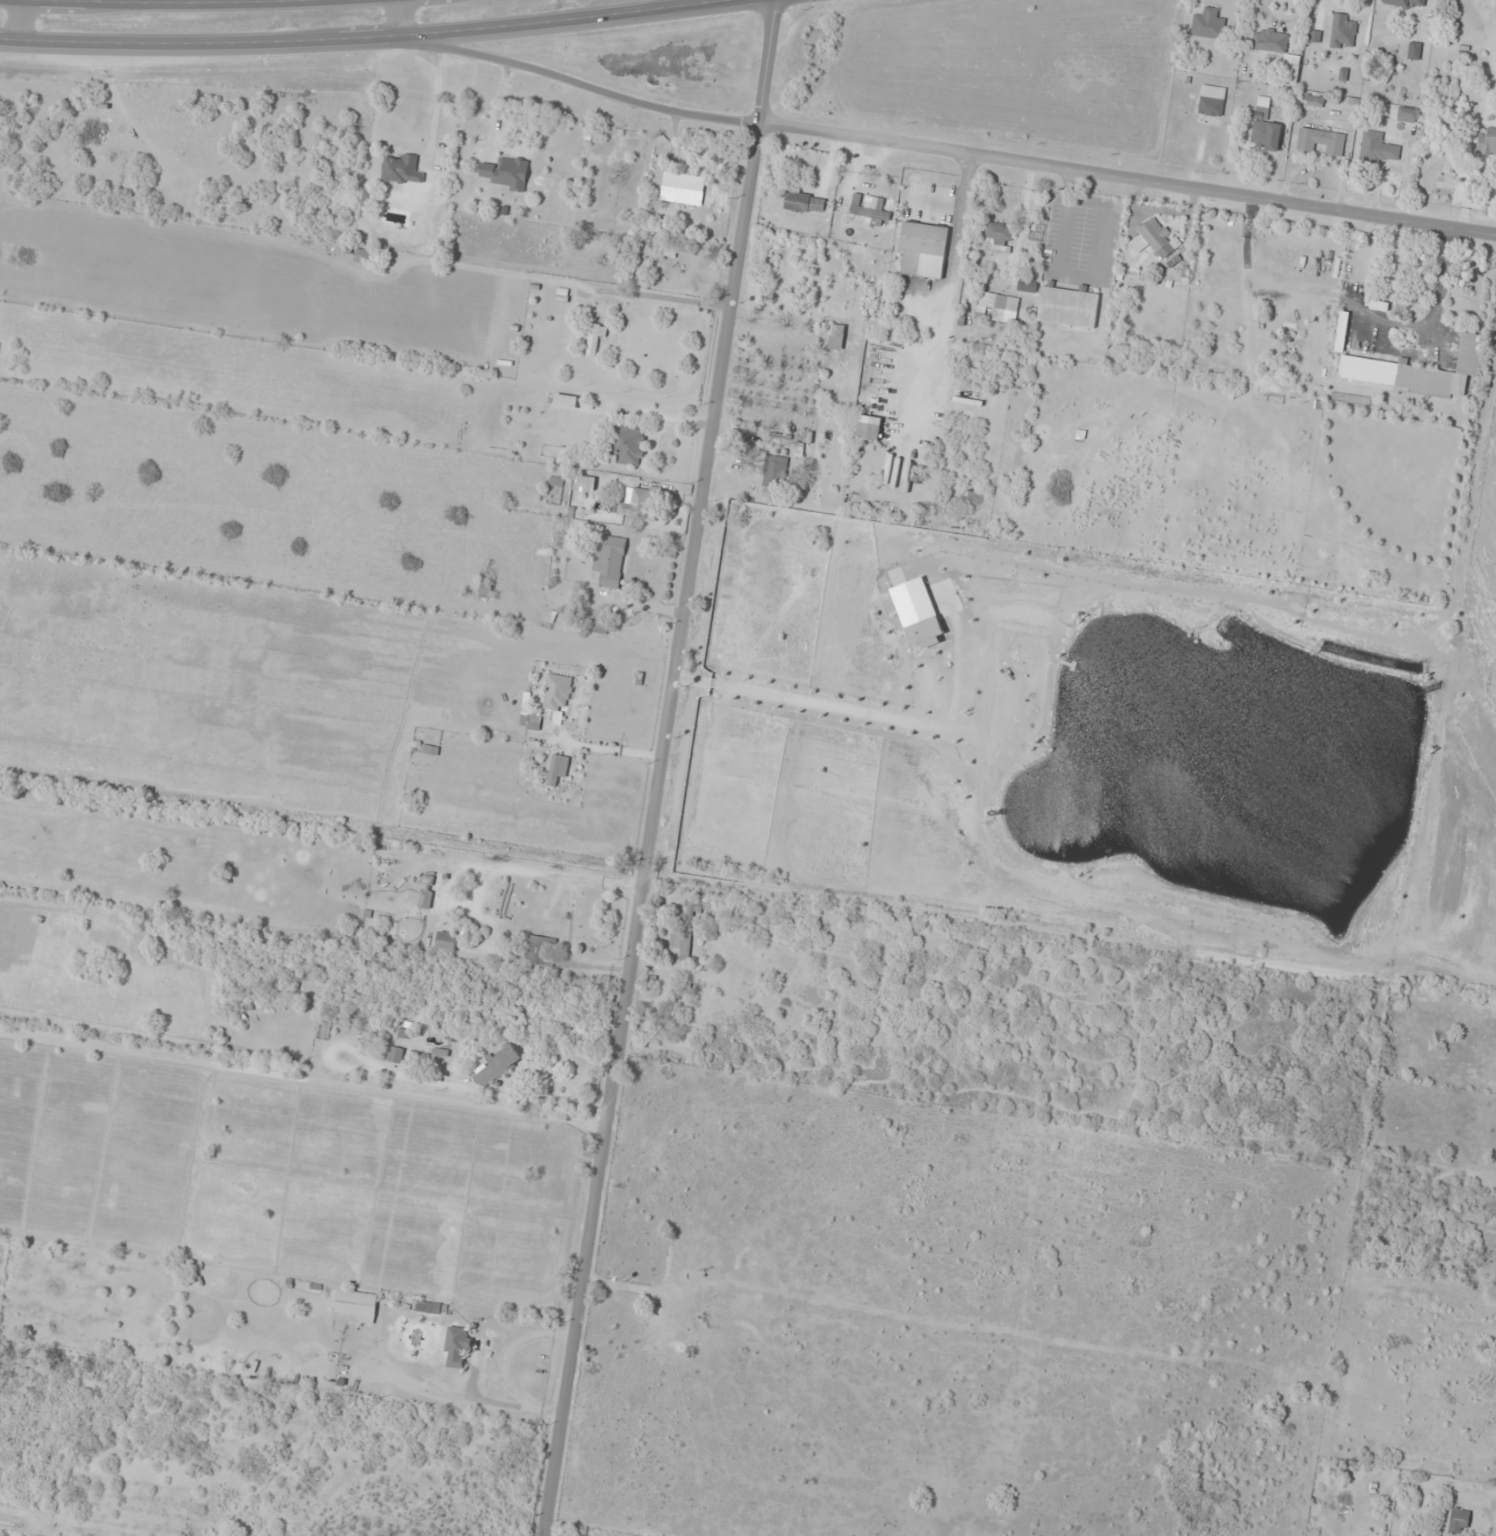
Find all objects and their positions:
road: (165, 5)
road: (22, 23)
building: (1208, 25)
building: (1342, 32)
road: (370, 40)
building: (1269, 41)
building: (1414, 50)
building: (1290, 75)
road: (564, 82)
building: (1212, 101)
building: (1408, 115)
building: (1265, 129)
building: (1321, 141)
building: (1488, 142)
building: (1378, 149)
building: (1443, 161)
building: (402, 171)
building: (507, 174)
road: (1128, 179)
building: (681, 187)
building: (606, 192)
building: (367, 202)
building: (804, 202)
building: (869, 211)
building: (999, 238)
building: (1157, 239)
building: (666, 250)
building: (924, 251)
building: (362, 256)
building: (1027, 286)
building: (997, 306)
building: (1068, 308)
building: (837, 337)
building: (595, 339)
building: (1442, 374)
building: (869, 429)
building: (628, 446)
building: (766, 465)
building: (585, 484)
building: (635, 502)
building: (610, 561)
building: (598, 628)
building: (558, 693)
building: (530, 722)
building: (429, 751)
road: (665, 767)
building: (556, 770)
building: (507, 898)
building: (425, 900)
building: (446, 942)
building: (681, 942)
building: (542, 952)
building: (395, 1056)
building: (431, 1307)
building: (353, 1308)
building: (457, 1348)
building: (1459, 1522)

